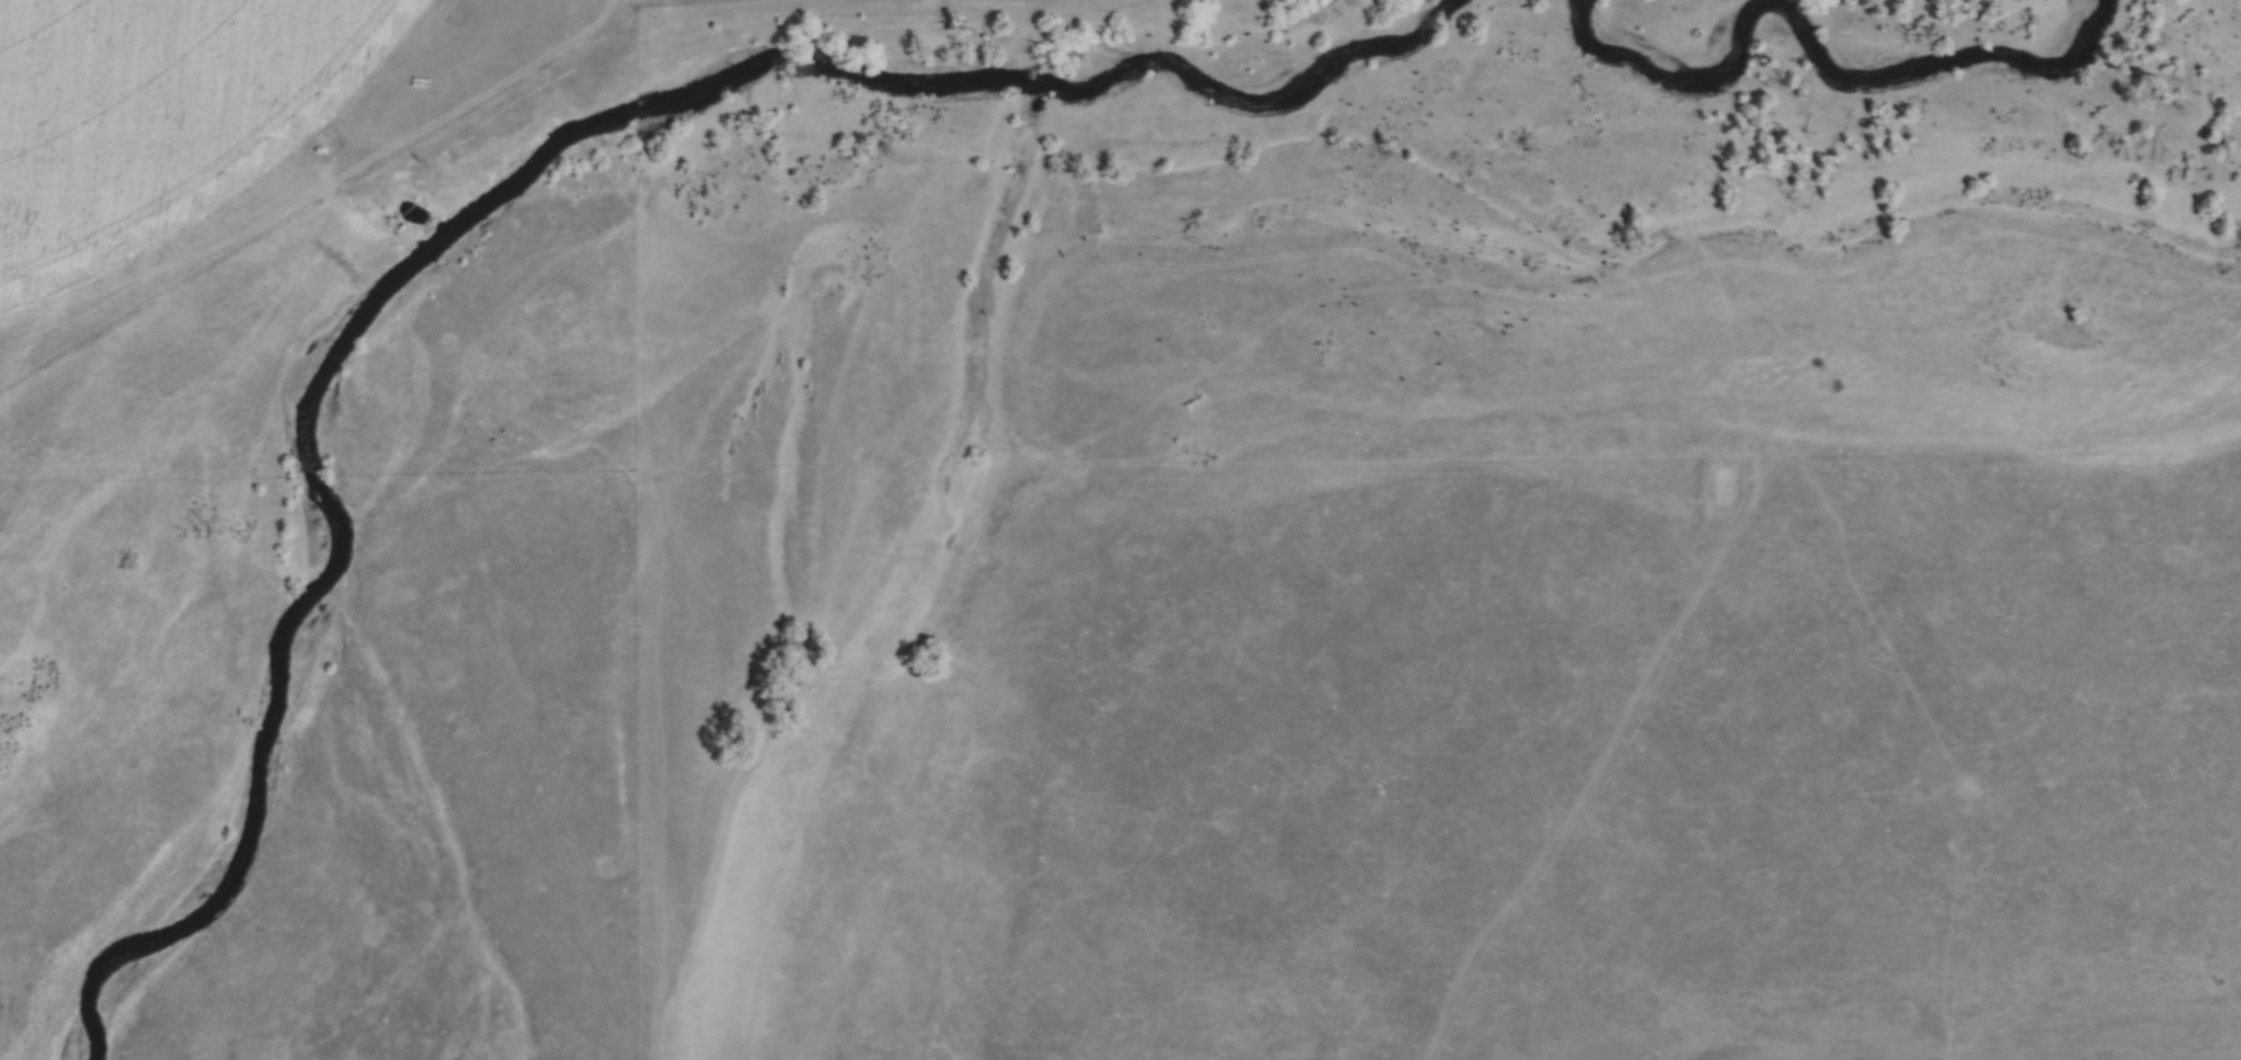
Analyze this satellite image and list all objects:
river: (1816, 48)
river: (498, 185)

